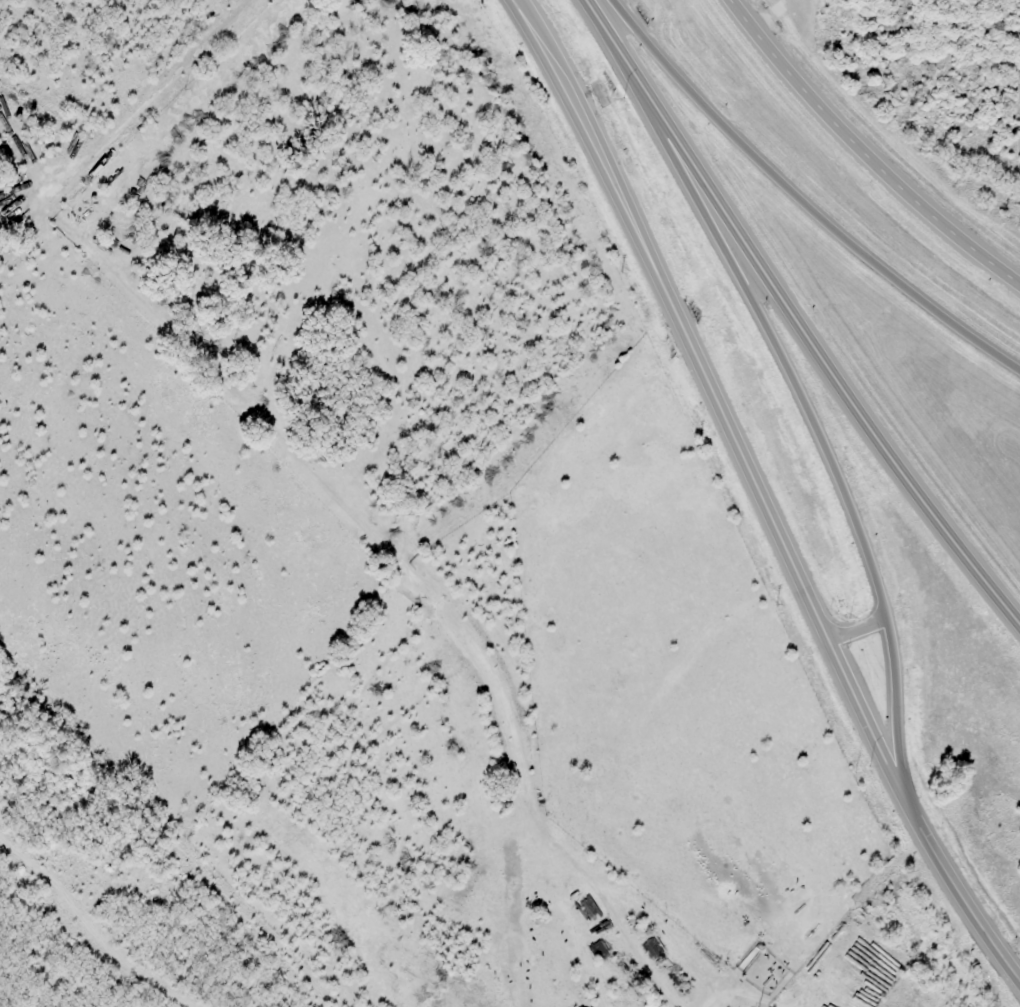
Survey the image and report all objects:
road: (596, 18)
road: (863, 153)
building: (9, 196)
road: (800, 201)
road: (805, 336)
road: (713, 397)
road: (802, 402)
road: (857, 629)
road: (957, 892)
building: (653, 947)

